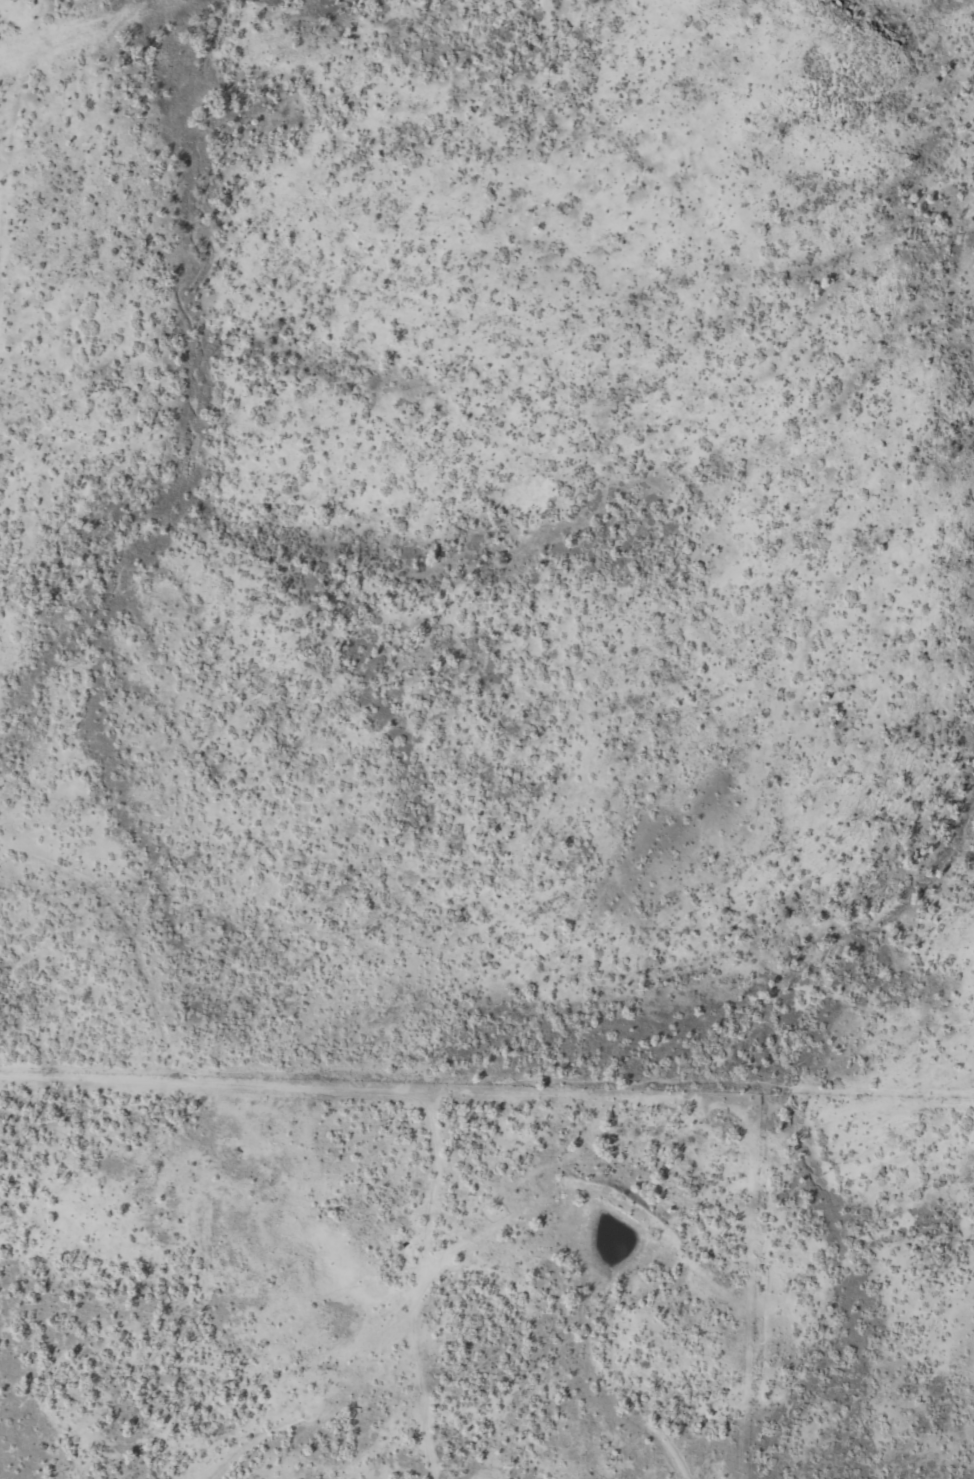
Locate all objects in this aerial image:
road: (42, 59)
road: (97, 945)
road: (486, 1083)
road: (761, 1288)

